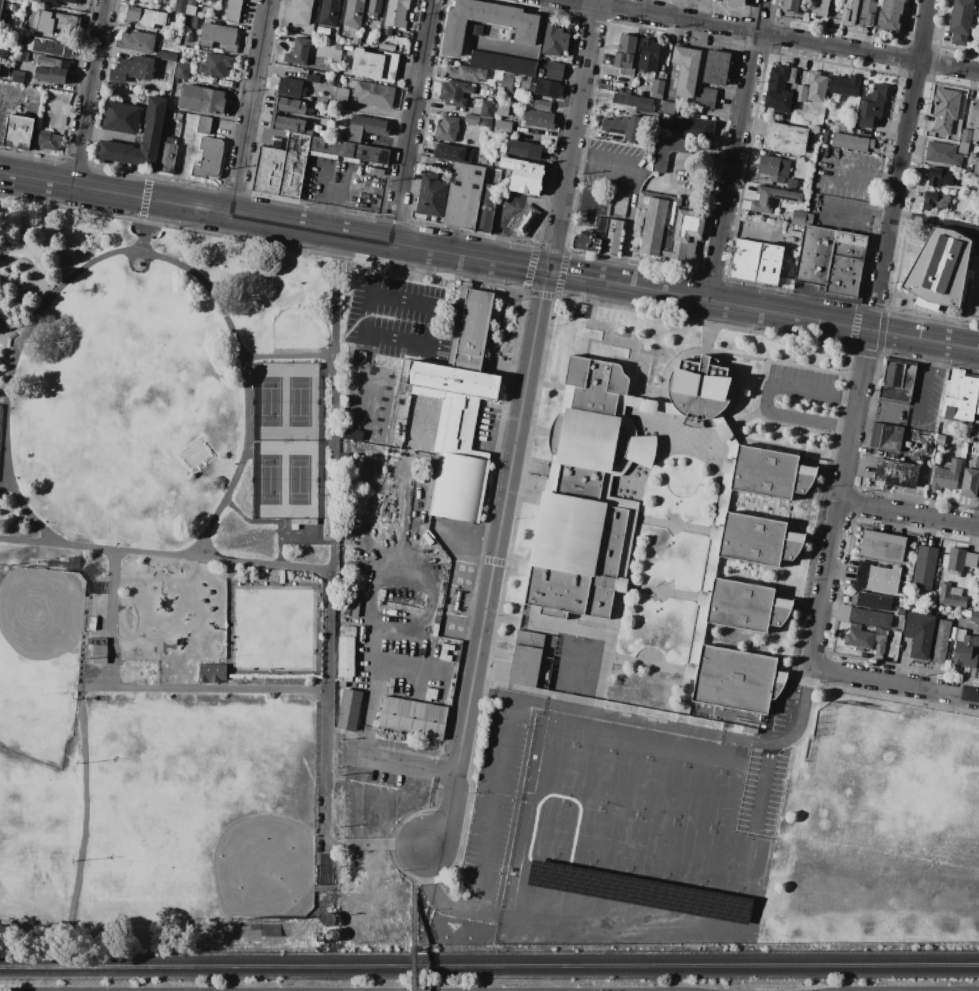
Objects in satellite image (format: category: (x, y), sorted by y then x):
building: (212, 0)
building: (58, 2)
road: (597, 2)
building: (191, 3)
building: (732, 3)
building: (0, 4)
building: (180, 6)
building: (790, 6)
building: (374, 7)
building: (818, 8)
building: (189, 11)
building: (233, 11)
building: (300, 12)
building: (849, 12)
building: (328, 13)
building: (353, 13)
building: (396, 13)
building: (866, 13)
building: (889, 16)
building: (144, 17)
building: (960, 21)
building: (189, 22)
building: (54, 23)
building: (477, 30)
building: (387, 31)
building: (176, 34)
building: (524, 35)
road: (777, 35)
building: (978, 36)
building: (218, 37)
building: (187, 38)
building: (554, 40)
building: (356, 41)
building: (136, 42)
building: (49, 47)
building: (337, 47)
building: (385, 47)
building: (21, 48)
building: (298, 52)
building: (624, 52)
building: (3, 55)
building: (648, 55)
building: (21, 56)
building: (166, 56)
building: (502, 63)
building: (367, 64)
building: (215, 65)
building: (389, 67)
building: (19, 68)
building: (715, 68)
building: (132, 69)
building: (51, 70)
building: (685, 70)
building: (181, 71)
building: (554, 71)
building: (286, 72)
building: (466, 73)
building: (17, 76)
building: (312, 78)
building: (506, 81)
building: (331, 82)
building: (524, 82)
building: (497, 84)
building: (844, 85)
building: (290, 87)
building: (546, 88)
building: (656, 88)
building: (779, 88)
building: (811, 89)
road: (87, 93)
building: (455, 93)
building: (373, 94)
building: (340, 98)
building: (200, 99)
building: (704, 99)
building: (633, 102)
building: (541, 104)
building: (871, 106)
road: (248, 108)
building: (487, 109)
building: (502, 110)
building: (945, 110)
building: (296, 113)
building: (173, 116)
building: (176, 117)
building: (121, 118)
building: (179, 118)
building: (471, 119)
building: (538, 119)
building: (975, 119)
road: (410, 122)
building: (484, 122)
building: (204, 125)
building: (621, 127)
building: (692, 127)
building: (366, 128)
building: (446, 128)
building: (502, 128)
building: (152, 131)
building: (18, 132)
building: (966, 136)
road: (573, 138)
building: (784, 139)
building: (169, 140)
building: (48, 141)
building: (851, 142)
building: (962, 148)
building: (522, 149)
road: (737, 150)
building: (346, 151)
building: (668, 151)
building: (451, 153)
building: (942, 154)
building: (166, 158)
building: (209, 159)
road: (604, 162)
road: (900, 164)
building: (976, 166)
building: (282, 168)
building: (773, 168)
building: (523, 175)
road: (855, 175)
building: (940, 178)
building: (790, 183)
building: (431, 196)
building: (463, 196)
road: (145, 198)
road: (324, 199)
building: (771, 199)
building: (935, 202)
building: (485, 208)
road: (851, 213)
building: (798, 218)
road: (935, 218)
road: (247, 219)
building: (808, 219)
building: (524, 220)
building: (668, 228)
road: (501, 231)
road: (144, 234)
building: (611, 237)
building: (590, 238)
road: (135, 250)
building: (755, 262)
building: (829, 265)
road: (521, 267)
building: (938, 269)
traffic signals: (547, 272)
building: (401, 288)
road: (526, 291)
park: (18, 293)
road: (708, 301)
road: (394, 316)
building: (472, 330)
road: (10, 331)
road: (431, 332)
road: (924, 339)
building: (357, 350)
building: (371, 350)
road: (878, 355)
building: (628, 380)
building: (897, 380)
building: (450, 381)
road: (929, 383)
building: (697, 388)
building: (959, 397)
road: (762, 398)
building: (977, 402)
road: (334, 403)
building: (400, 416)
building: (456, 424)
building: (885, 437)
building: (940, 439)
park: (285, 443)
building: (977, 462)
building: (895, 473)
building: (946, 476)
road: (3, 483)
building: (969, 483)
building: (459, 486)
building: (587, 494)
road: (840, 498)
building: (420, 505)
building: (399, 511)
road: (909, 515)
road: (433, 524)
building: (415, 532)
building: (421, 542)
building: (882, 547)
building: (420, 550)
road: (164, 554)
building: (970, 560)
road: (494, 561)
building: (955, 561)
building: (769, 564)
building: (924, 568)
building: (281, 576)
building: (876, 578)
building: (978, 578)
road: (373, 584)
park: (166, 590)
building: (951, 596)
building: (871, 602)
building: (355, 604)
building: (974, 609)
building: (439, 610)
building: (349, 611)
building: (900, 612)
building: (843, 614)
building: (974, 617)
building: (870, 618)
building: (900, 618)
road: (114, 619)
building: (92, 624)
building: (435, 630)
building: (919, 634)
building: (858, 639)
building: (96, 641)
building: (940, 642)
building: (447, 647)
building: (445, 652)
building: (965, 652)
building: (99, 654)
building: (442, 657)
building: (345, 658)
building: (447, 658)
building: (525, 659)
park: (37, 662)
road: (408, 667)
building: (211, 673)
building: (546, 676)
road: (897, 683)
building: (342, 685)
building: (390, 686)
road: (83, 693)
building: (432, 695)
road: (505, 697)
road: (323, 706)
building: (349, 710)
building: (412, 717)
building: (376, 723)
road: (703, 732)
road: (406, 764)
park: (886, 789)
road: (354, 791)
parking lot: (491, 803)
park: (648, 803)
park: (24, 808)
park: (200, 816)
road: (377, 844)
park: (35, 847)
road: (482, 849)
road: (420, 866)
building: (638, 892)
building: (327, 920)
building: (331, 936)
building: (319, 939)
railway: (489, 963)
railway: (489, 972)
park: (481, 986)
road: (897, 989)
road: (352, 990)

